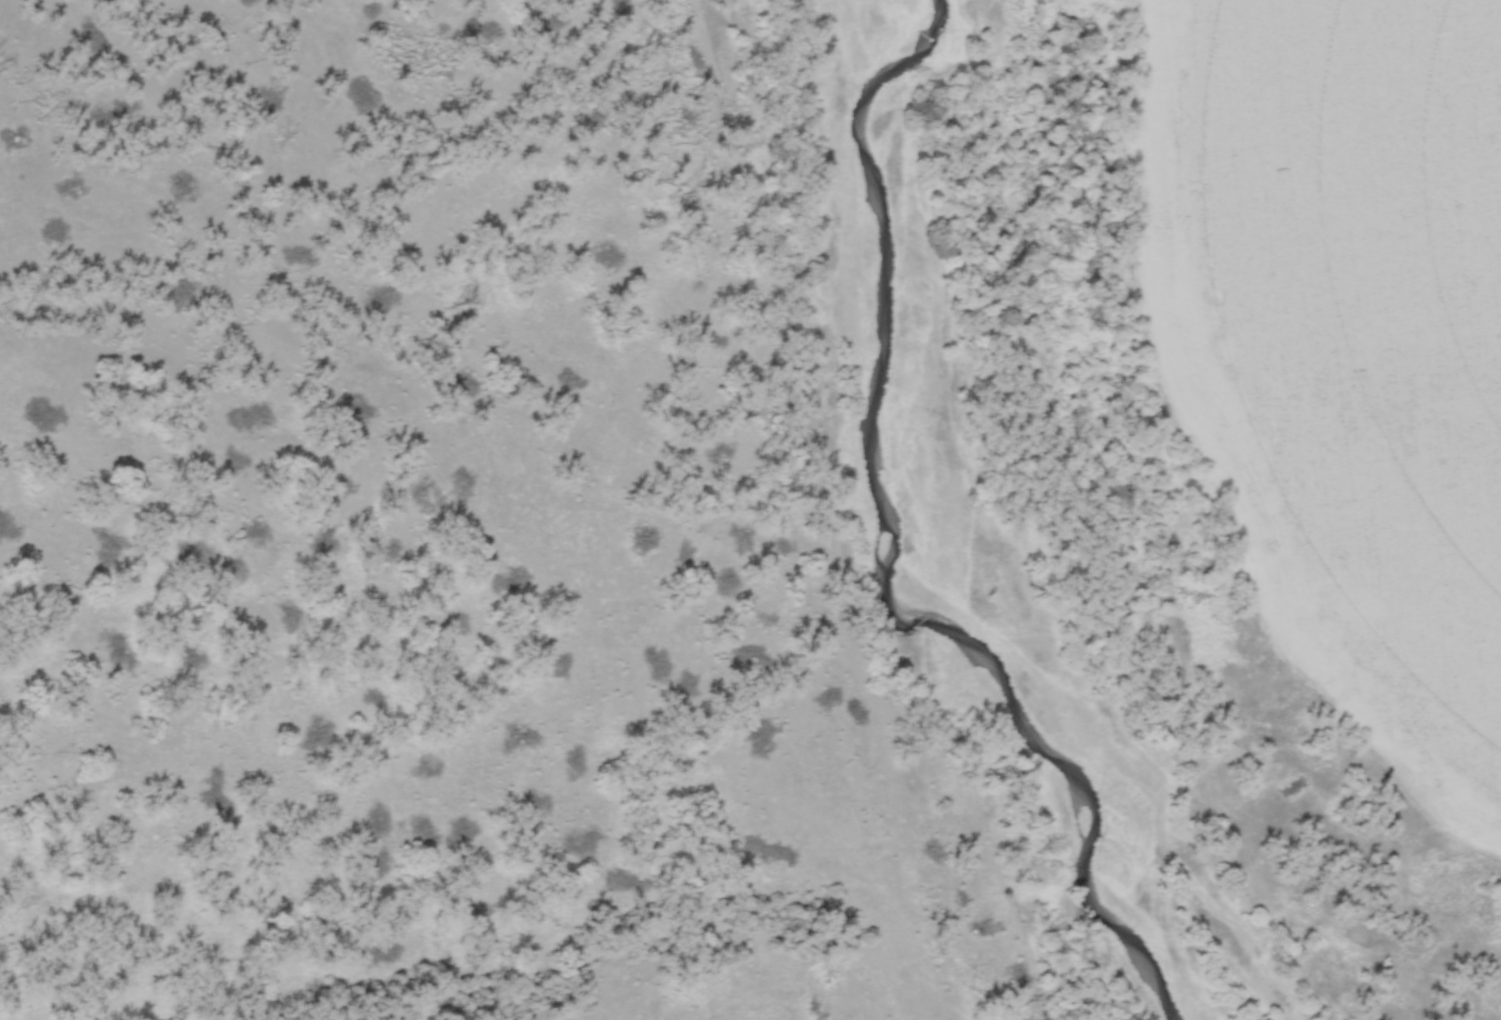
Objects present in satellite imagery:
river: (886, 550)

